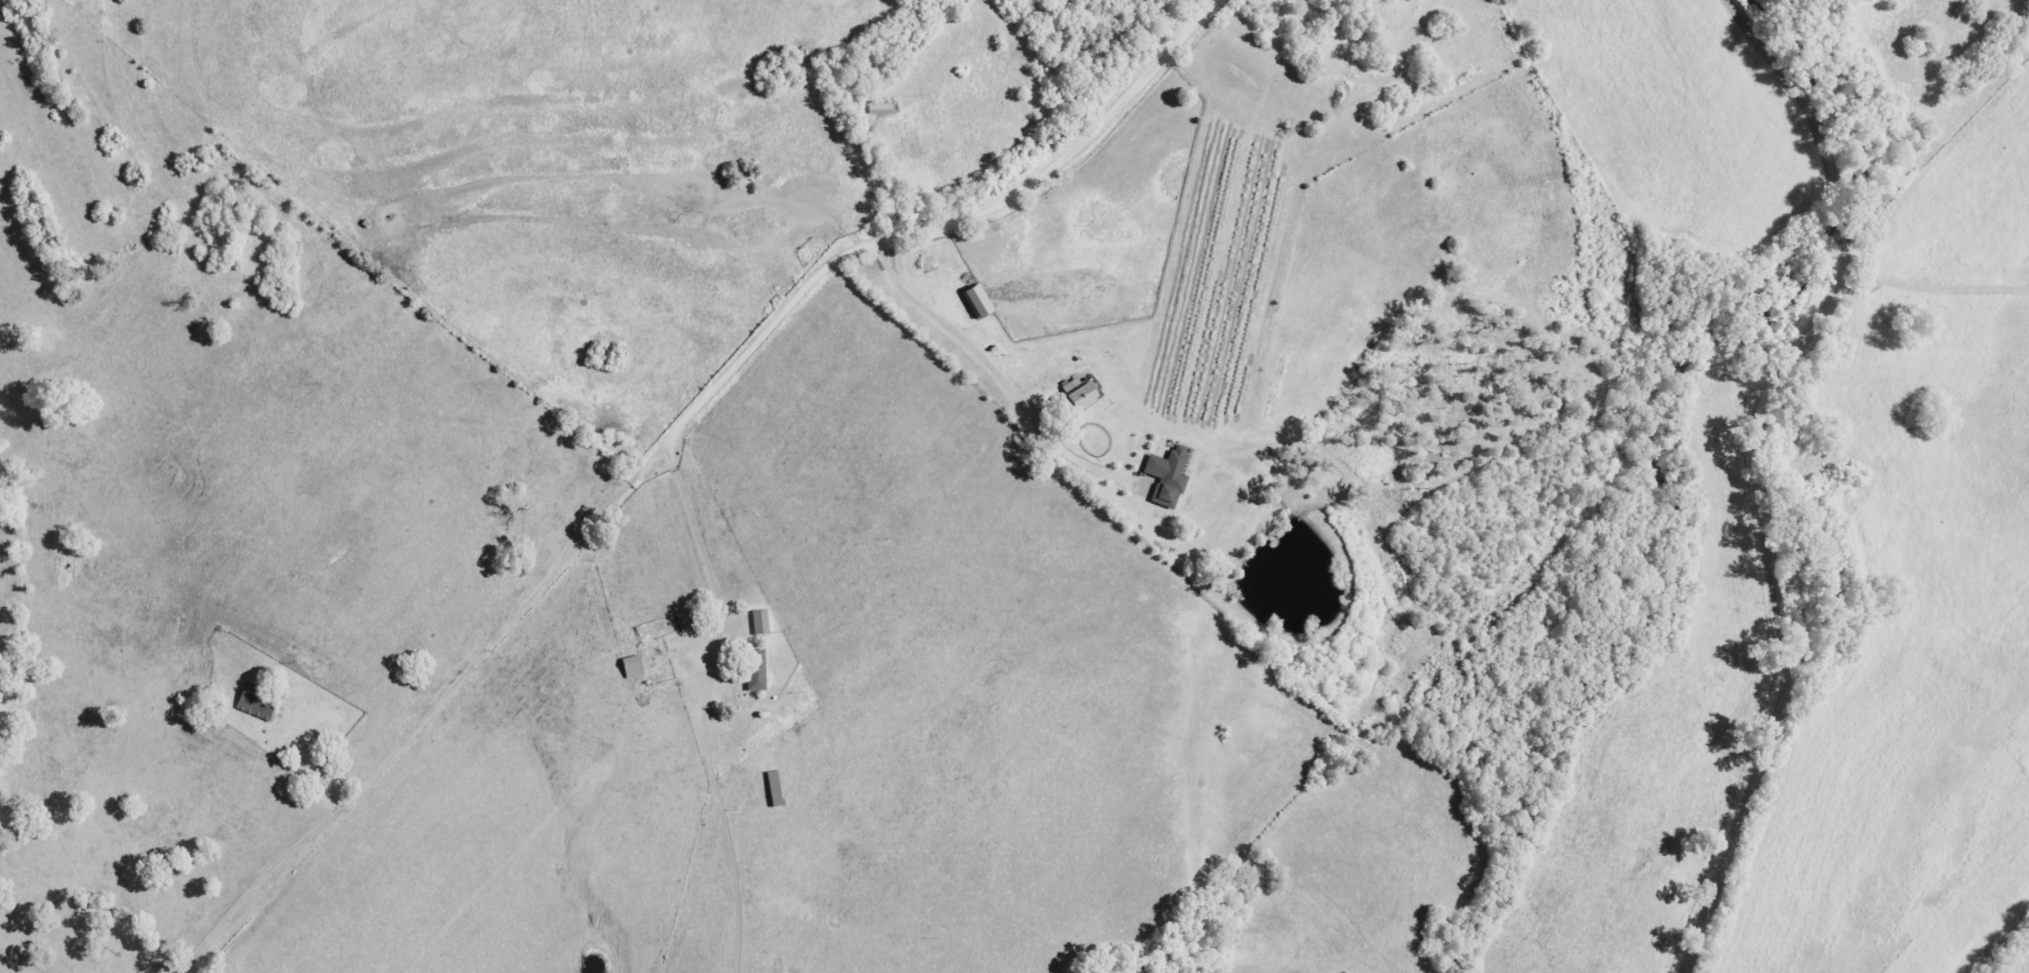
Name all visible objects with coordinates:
road: (850, 252)
building: (976, 302)
road: (1909, 345)
building: (1078, 397)
road: (472, 427)
road: (1760, 464)
building: (1166, 477)
building: (684, 621)
building: (759, 623)
road: (517, 632)
building: (631, 668)
building: (755, 671)
building: (255, 703)

